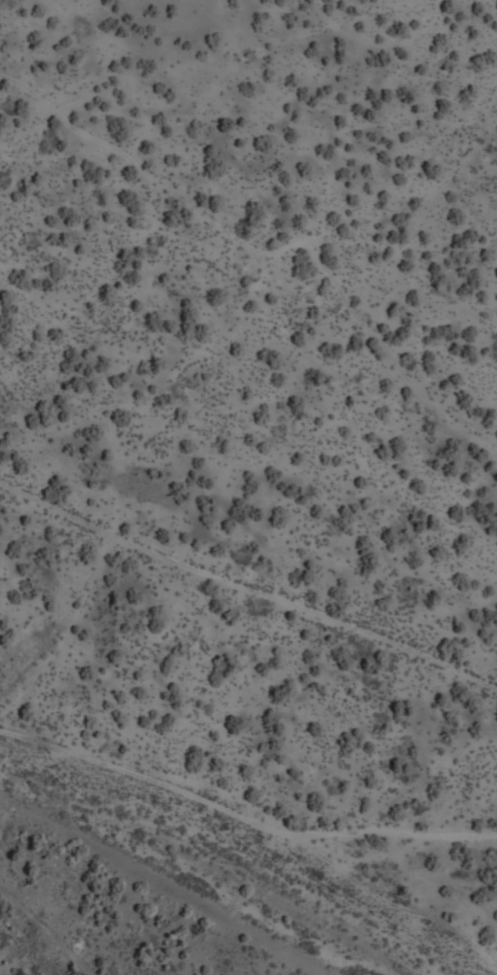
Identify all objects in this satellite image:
road: (224, 847)

